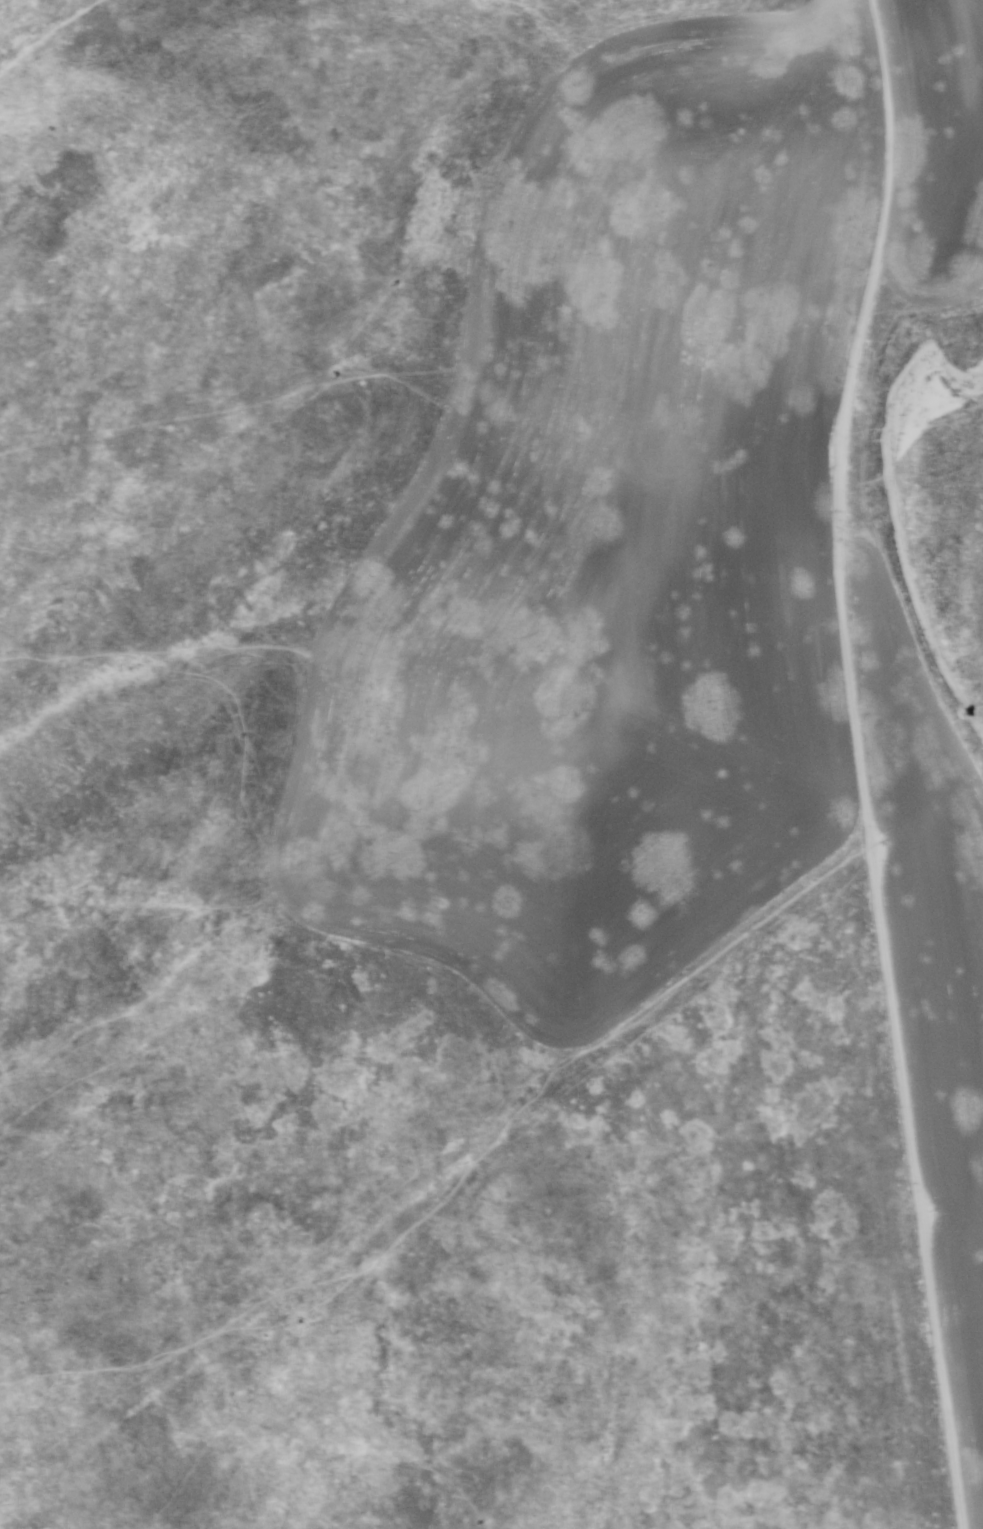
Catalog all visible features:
road: (864, 763)

